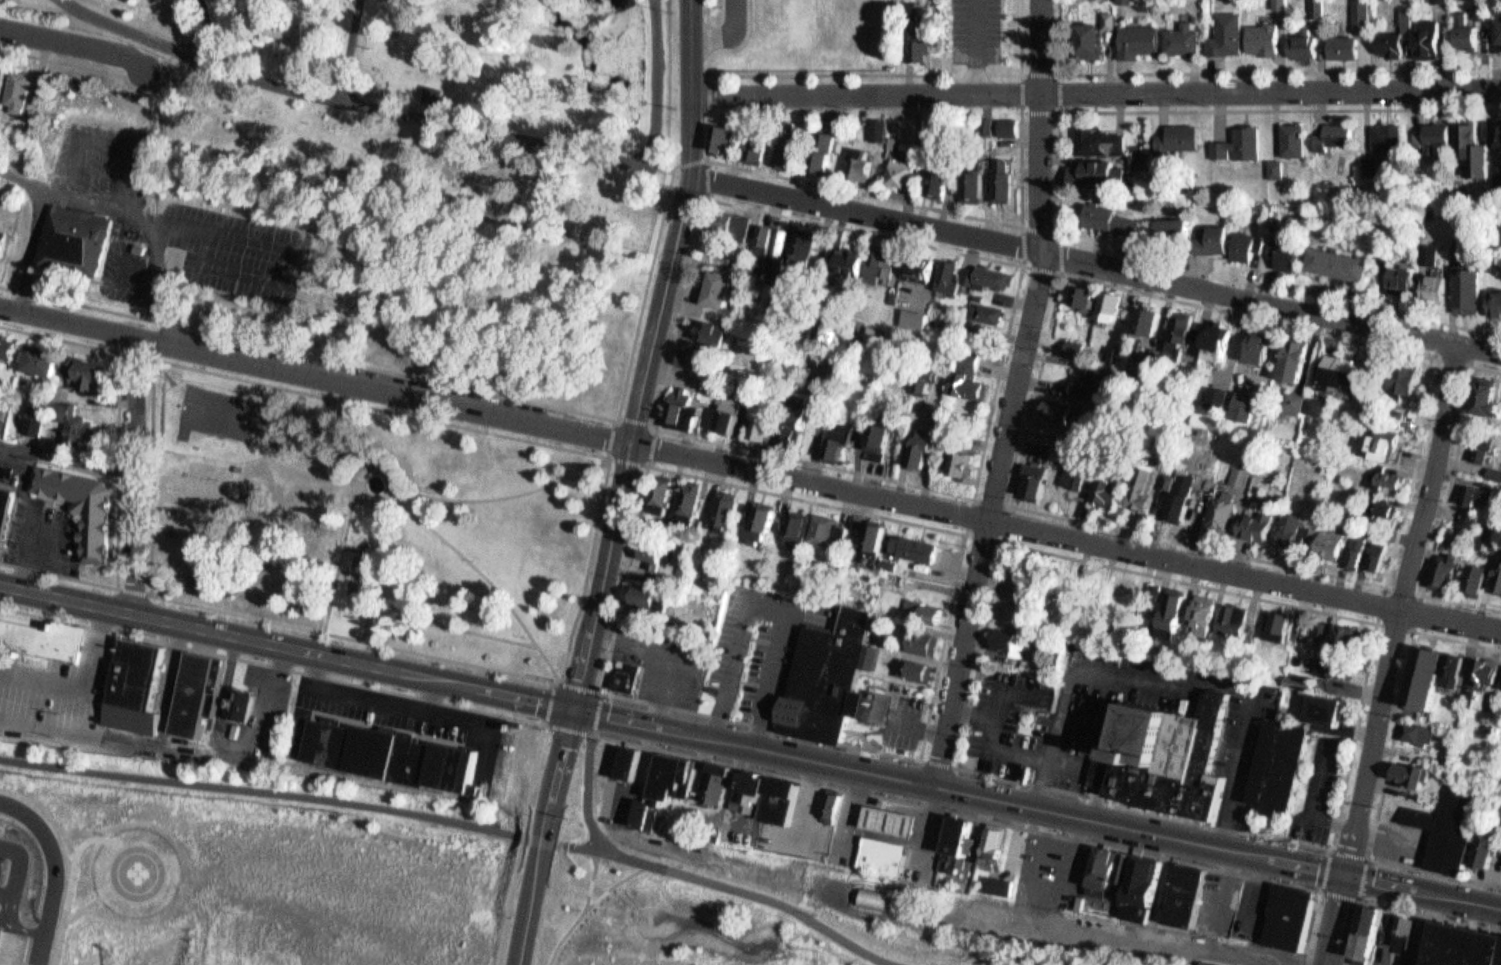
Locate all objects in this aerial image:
building: (1316, 8)
road: (1013, 9)
building: (1361, 14)
parking lot: (983, 18)
road: (984, 19)
road: (1028, 19)
park: (858, 23)
road: (205, 26)
building: (1227, 33)
building: (1469, 35)
building: (1396, 38)
building: (1431, 38)
building: (1137, 39)
building: (1265, 39)
building: (927, 40)
building: (1094, 40)
building: (1185, 40)
building: (1497, 40)
road: (74, 43)
building: (1341, 45)
road: (347, 46)
building: (1305, 46)
building: (0, 64)
park: (429, 65)
road: (108, 71)
road: (1244, 71)
road: (867, 73)
road: (656, 81)
building: (11, 85)
road: (1097, 89)
building: (23, 91)
road: (711, 91)
building: (435, 95)
road: (352, 96)
building: (448, 104)
road: (1221, 110)
road: (1062, 111)
road: (102, 124)
building: (1011, 129)
building: (883, 130)
building: (1438, 133)
building: (1498, 134)
building: (1336, 136)
building: (1388, 137)
building: (730, 138)
building: (1178, 138)
building: (1292, 138)
building: (1106, 142)
building: (948, 143)
building: (1241, 144)
building: (795, 146)
building: (1474, 149)
building: (763, 150)
building: (830, 153)
building: (865, 162)
building: (1370, 165)
building: (905, 172)
building: (1101, 173)
road: (21, 177)
building: (1007, 181)
building: (943, 184)
building: (979, 186)
road: (710, 198)
road: (900, 201)
parking lot: (163, 217)
building: (1112, 217)
building: (723, 218)
road: (175, 220)
building: (737, 224)
building: (1178, 231)
building: (760, 234)
building: (72, 236)
building: (1216, 239)
building: (3, 244)
building: (135, 244)
building: (1247, 245)
building: (775, 251)
building: (800, 251)
building: (810, 252)
building: (1291, 253)
building: (846, 254)
road: (151, 255)
building: (784, 257)
building: (877, 257)
road: (1046, 261)
building: (917, 263)
building: (857, 264)
road: (1095, 264)
building: (1338, 265)
road: (1026, 266)
building: (929, 269)
building: (966, 270)
building: (992, 271)
road: (1063, 272)
building: (947, 274)
building: (1407, 277)
building: (714, 283)
building: (723, 288)
building: (1442, 290)
building: (1473, 291)
building: (1082, 295)
building: (772, 297)
building: (1499, 304)
building: (1113, 306)
building: (984, 307)
building: (911, 313)
building: (993, 314)
road: (1430, 319)
building: (921, 320)
building: (1146, 322)
building: (708, 325)
building: (1186, 330)
building: (7, 341)
building: (1224, 343)
building: (1070, 347)
building: (1264, 348)
building: (38, 351)
building: (693, 352)
building: (1116, 354)
building: (10, 355)
road: (654, 356)
road: (156, 357)
building: (700, 359)
building: (1160, 359)
building: (1293, 359)
road: (1434, 359)
road: (1437, 359)
building: (80, 364)
building: (967, 372)
building: (1350, 373)
road: (430, 378)
building: (978, 378)
building: (1410, 379)
road: (270, 382)
building: (1094, 385)
building: (1218, 396)
building: (1490, 399)
building: (1295, 403)
building: (680, 405)
building: (1245, 406)
building: (1320, 406)
building: (4, 407)
building: (725, 410)
building: (1061, 410)
park: (222, 412)
building: (736, 415)
building: (71, 416)
building: (29, 418)
building: (761, 420)
building: (771, 428)
building: (791, 431)
building: (874, 433)
building: (800, 436)
building: (835, 437)
building: (883, 442)
building: (845, 443)
building: (1384, 443)
building: (919, 447)
building: (1047, 449)
building: (1480, 449)
building: (927, 454)
building: (970, 457)
road: (70, 458)
building: (957, 459)
road: (750, 466)
road: (653, 467)
road: (121, 470)
building: (1072, 473)
road: (334, 474)
building: (1241, 476)
road: (140, 477)
building: (1385, 477)
building: (1041, 480)
fountain: (379, 482)
building: (1141, 482)
building: (1105, 484)
building: (670, 489)
building: (658, 491)
building: (1115, 492)
building: (1150, 493)
building: (1477, 494)
road: (434, 496)
road: (388, 497)
building: (685, 497)
building: (696, 498)
building: (1463, 498)
road: (810, 500)
building: (1177, 501)
building: (721, 504)
road: (1443, 504)
building: (86, 506)
building: (1189, 507)
building: (1217, 507)
building: (732, 510)
building: (7, 512)
building: (1227, 512)
building: (757, 519)
building: (1251, 520)
park: (370, 522)
building: (1285, 522)
building: (791, 525)
building: (818, 526)
building: (1475, 527)
building: (1294, 529)
building: (803, 531)
building: (870, 533)
building: (1326, 537)
building: (881, 538)
road: (1006, 541)
building: (910, 542)
building: (1353, 542)
building: (1373, 545)
building: (650, 550)
building: (1362, 551)
building: (1382, 556)
building: (1443, 564)
road: (591, 572)
building: (1471, 573)
building: (1495, 573)
building: (1480, 580)
road: (139, 592)
building: (646, 594)
road: (762, 597)
building: (925, 607)
road: (366, 608)
road: (1403, 608)
building: (1199, 610)
building: (1168, 611)
building: (1181, 612)
building: (1235, 614)
building: (1211, 615)
building: (1273, 619)
road: (1380, 623)
building: (1287, 627)
road: (1417, 629)
building: (918, 635)
building: (1005, 635)
building: (42, 638)
building: (1346, 638)
road: (359, 639)
parking lot: (753, 642)
building: (867, 651)
road: (962, 651)
building: (911, 663)
building: (1448, 664)
road: (272, 666)
building: (1477, 666)
building: (1458, 670)
building: (1351, 671)
building: (1418, 671)
building: (827, 674)
building: (629, 678)
building: (1485, 679)
building: (1298, 682)
building: (130, 685)
road: (582, 687)
building: (193, 690)
building: (239, 697)
road: (554, 703)
traffic signals: (575, 708)
building: (1325, 710)
road: (600, 713)
road: (573, 718)
road: (764, 725)
road: (558, 726)
road: (583, 732)
building: (217, 733)
building: (1418, 733)
road: (750, 745)
building: (388, 748)
building: (1168, 758)
building: (633, 763)
road: (941, 763)
building: (1277, 768)
road: (1387, 768)
building: (1411, 774)
building: (678, 777)
building: (761, 782)
building: (718, 785)
road: (258, 790)
road: (592, 792)
building: (786, 799)
building: (833, 807)
building: (648, 814)
building: (886, 815)
gas station: (886, 815)
road: (996, 821)
building: (1449, 824)
building: (962, 833)
building: (997, 841)
road: (520, 844)
parking lot: (2, 847)
road: (546, 847)
building: (879, 849)
building: (1488, 850)
building: (952, 861)
helipad: (139, 871)
road: (53, 872)
traffic signals: (1344, 872)
building: (1104, 873)
building: (1124, 874)
road: (619, 882)
building: (1002, 885)
building: (1146, 887)
road: (743, 889)
building: (882, 897)
building: (1187, 897)
road: (1358, 898)
road: (1397, 907)
road: (587, 911)
road: (1335, 918)
building: (1293, 919)
park: (674, 920)
building: (1370, 932)
building: (1408, 933)
building: (7, 944)
building: (1463, 945)
building: (1211, 963)
road: (1330, 964)

